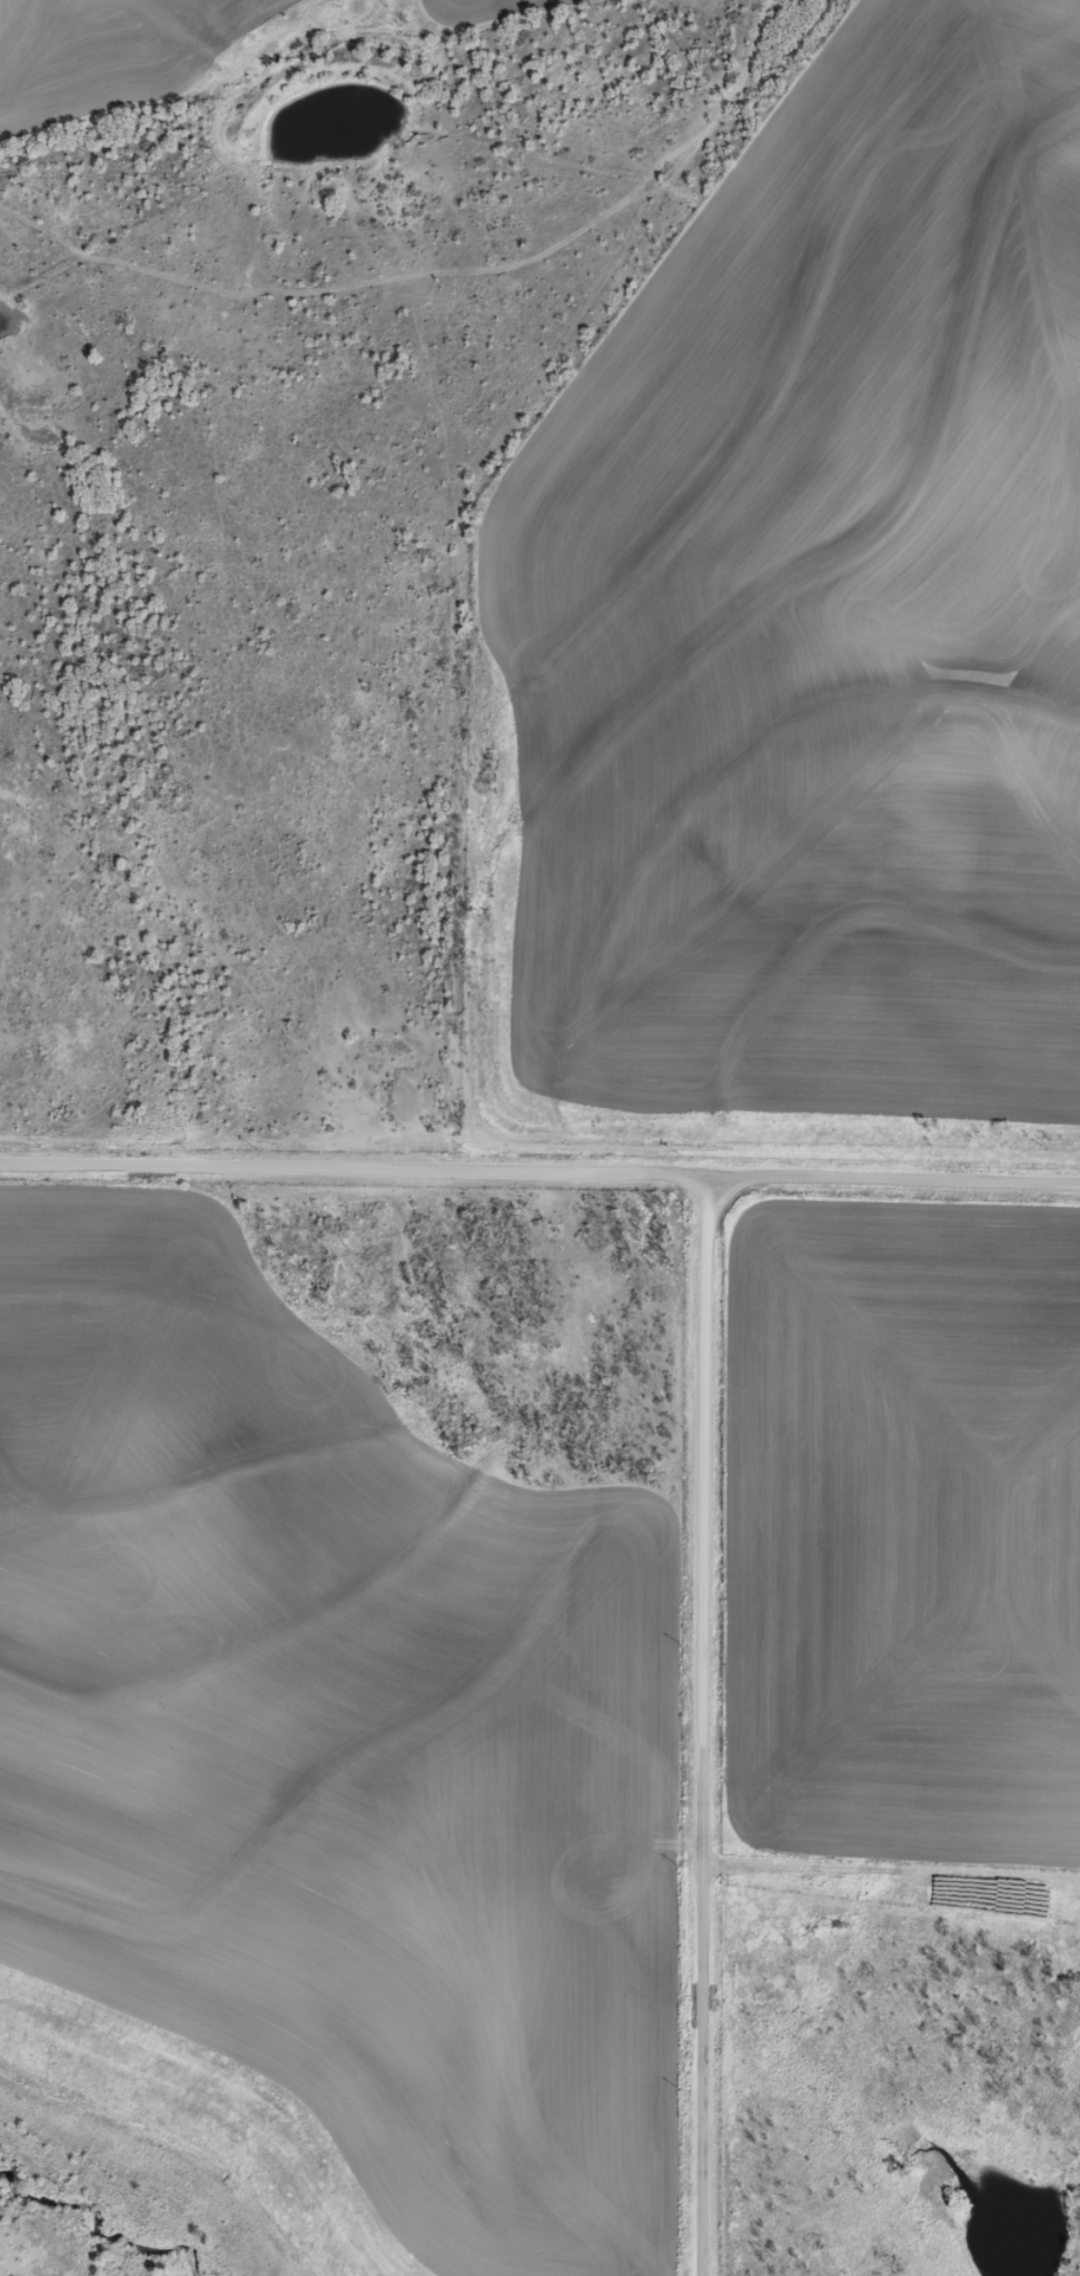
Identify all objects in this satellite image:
road: (355, 1167)
road: (894, 1181)
road: (706, 1724)

